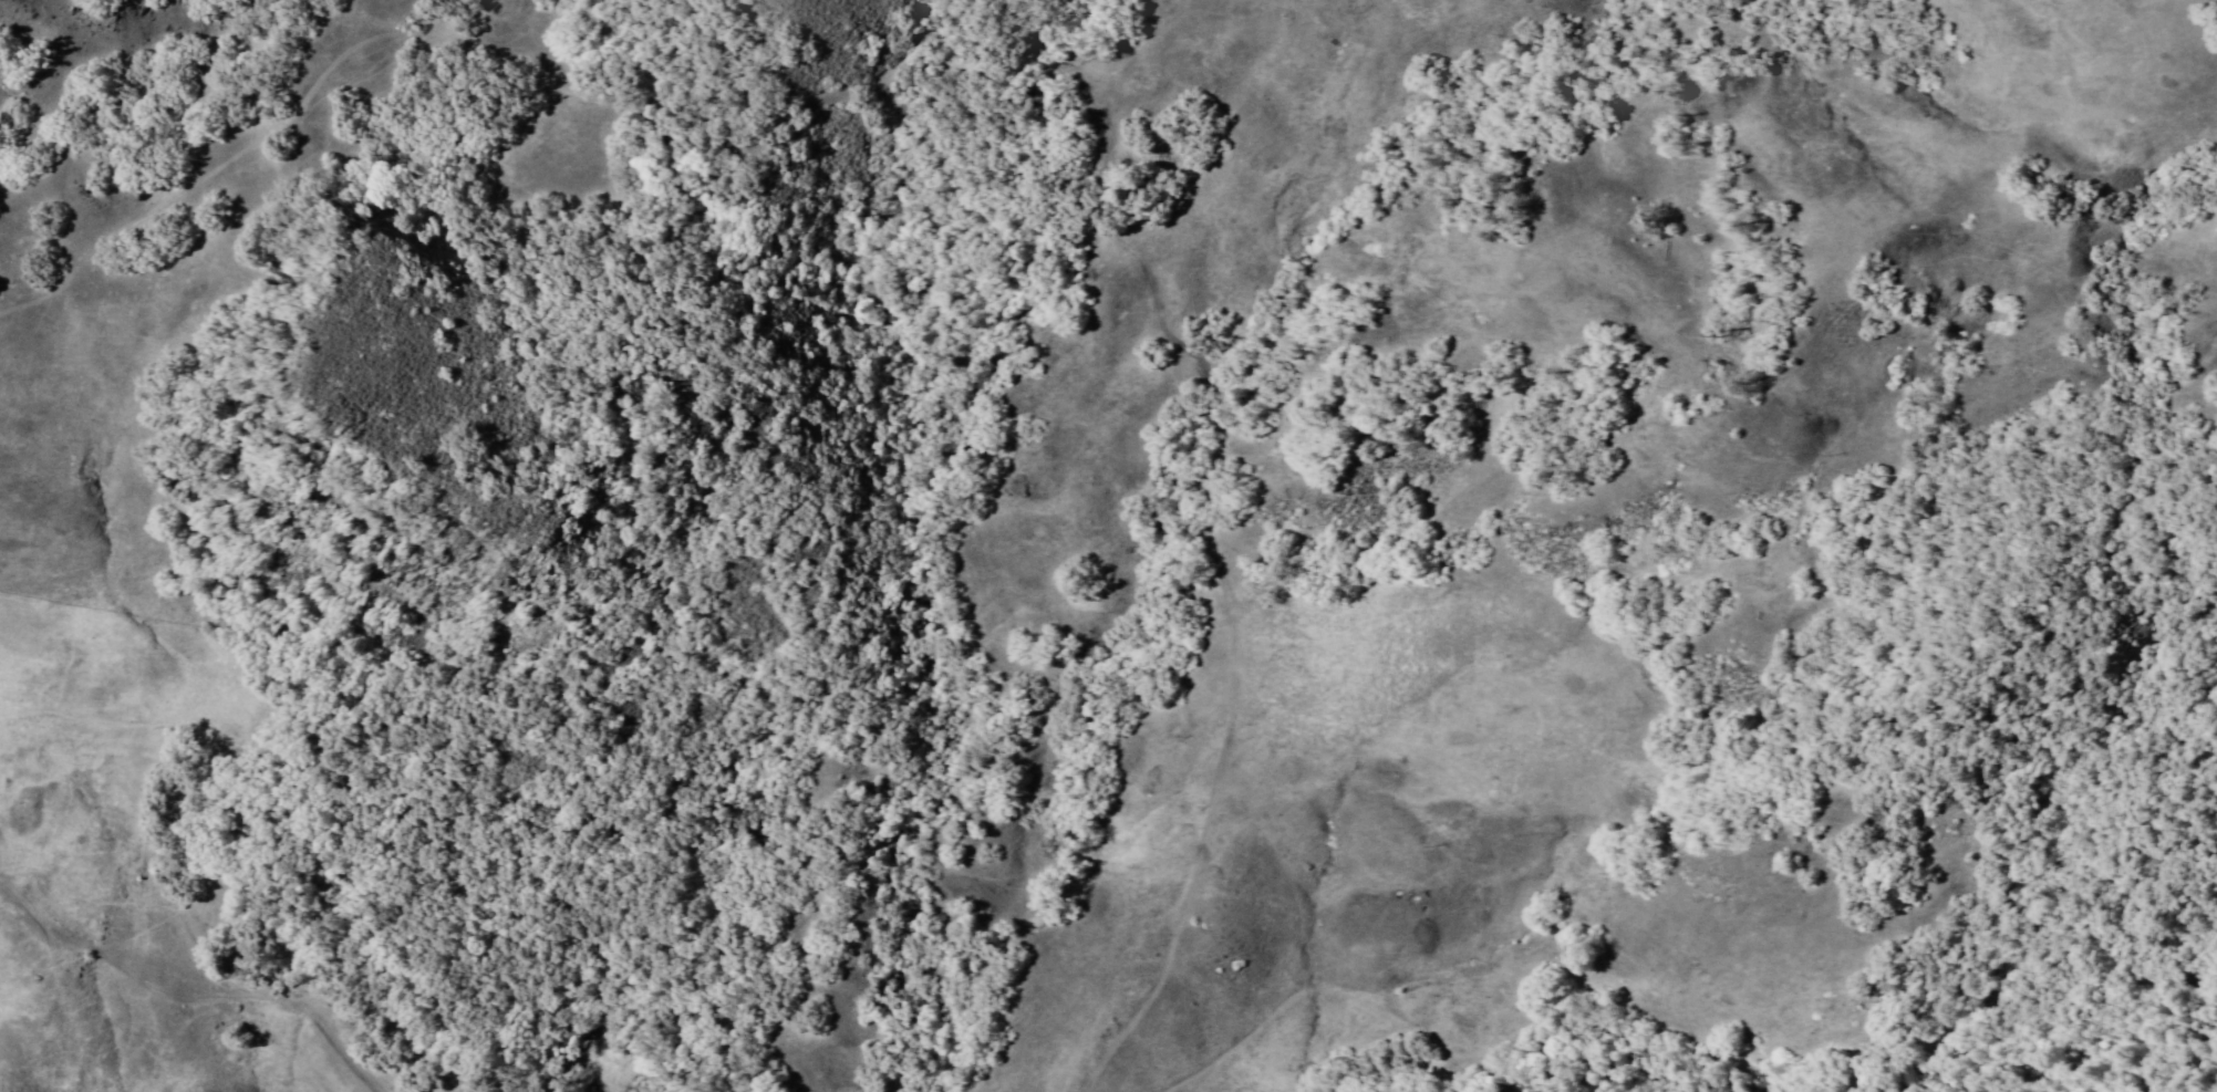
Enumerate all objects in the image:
road: (194, 999)

